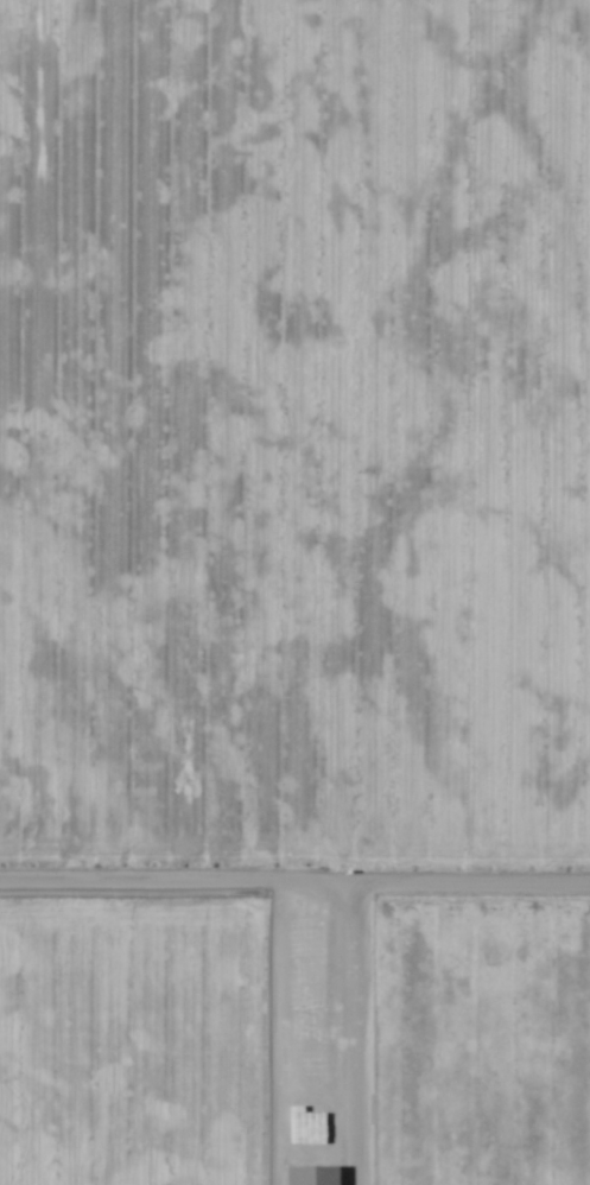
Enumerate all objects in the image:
road: (341, 592)
road: (294, 939)
building: (312, 1176)

